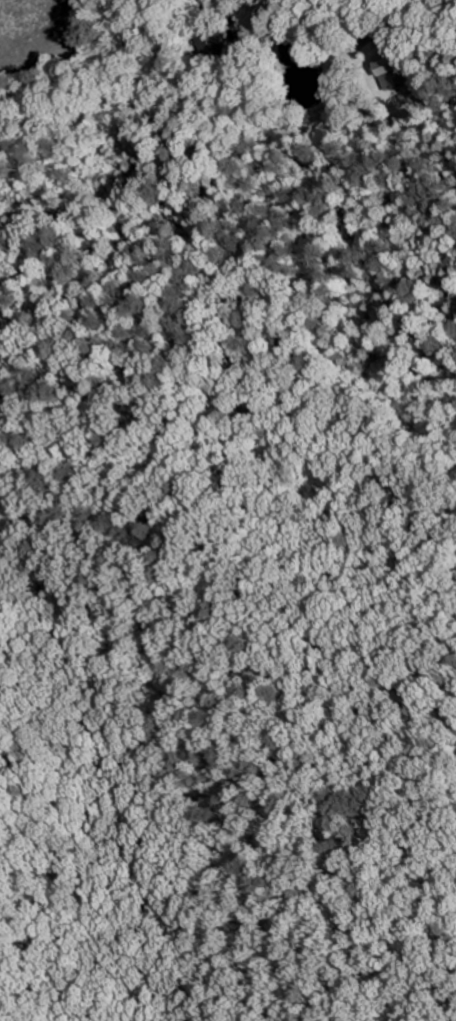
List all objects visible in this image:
road: (155, 17)
building: (212, 44)
building: (391, 70)

